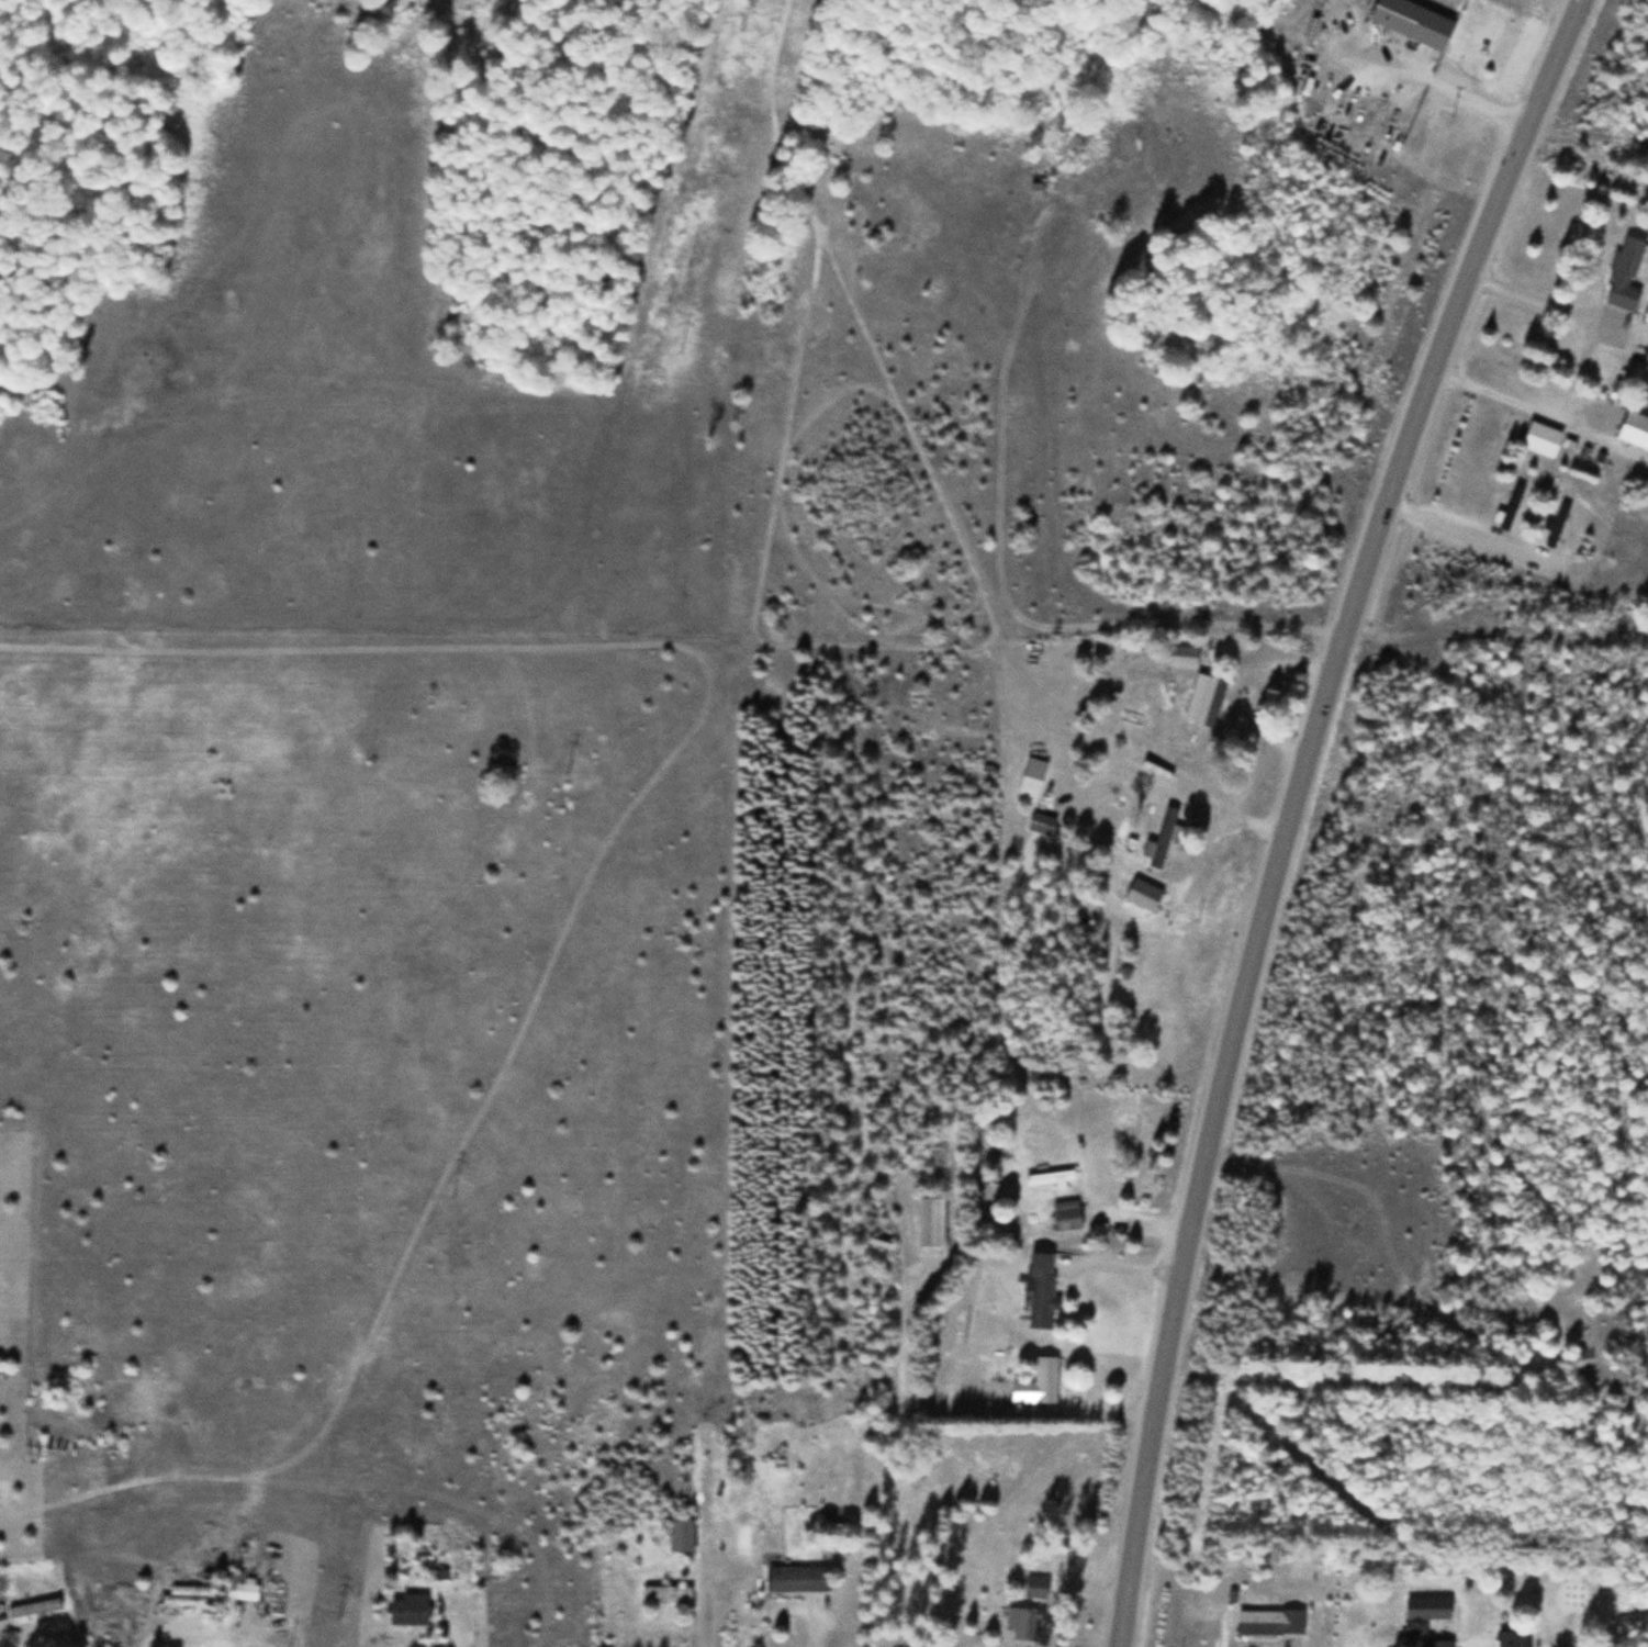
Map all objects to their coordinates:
building: (1412, 22)
building: (1036, 190)
building: (1624, 274)
building: (1542, 438)
building: (1511, 507)
building: (1556, 527)
building: (1181, 657)
building: (1210, 702)
road: (1293, 807)
building: (1168, 824)
building: (1143, 895)
building: (1067, 1214)
building: (931, 1222)
building: (1040, 1290)
building: (1039, 1383)
building: (681, 1535)
building: (795, 1578)
building: (244, 1588)
building: (1036, 1588)
building: (666, 1593)
building: (186, 1596)
building: (34, 1607)
building: (408, 1611)
building: (2, 1612)
building: (1270, 1622)
building: (1022, 1623)
building: (1421, 1634)
building: (1507, 1638)

